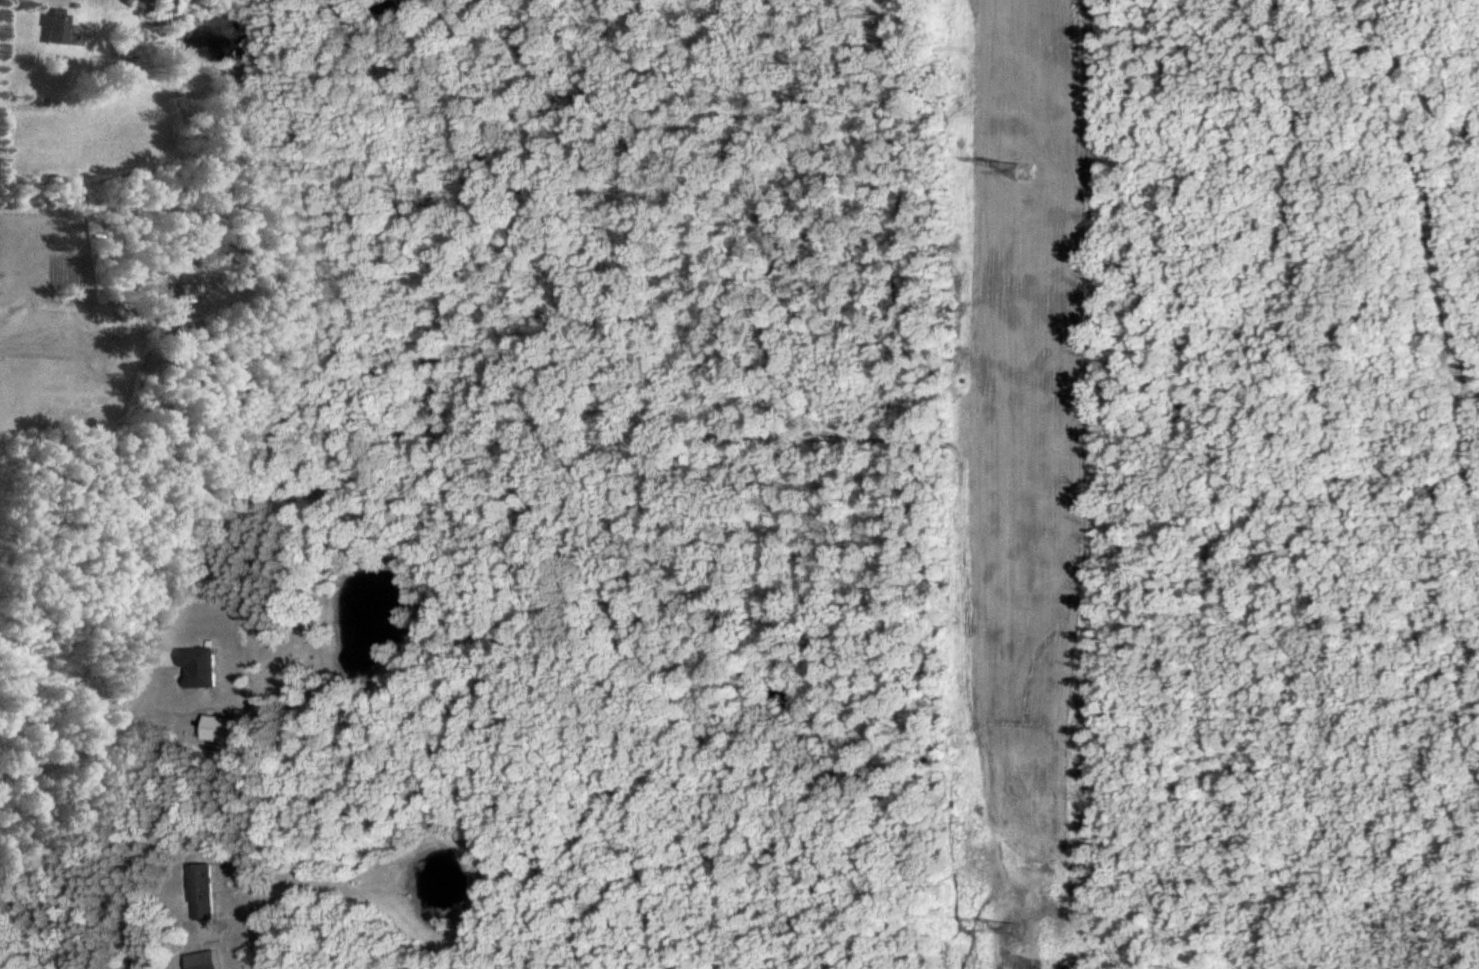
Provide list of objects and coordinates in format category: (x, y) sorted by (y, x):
building: (145, 1)
building: (61, 28)
power tower: (1024, 174)
building: (198, 281)
building: (96, 354)
building: (206, 666)
road: (91, 733)
building: (207, 891)
power tower: (1012, 931)
building: (207, 960)

